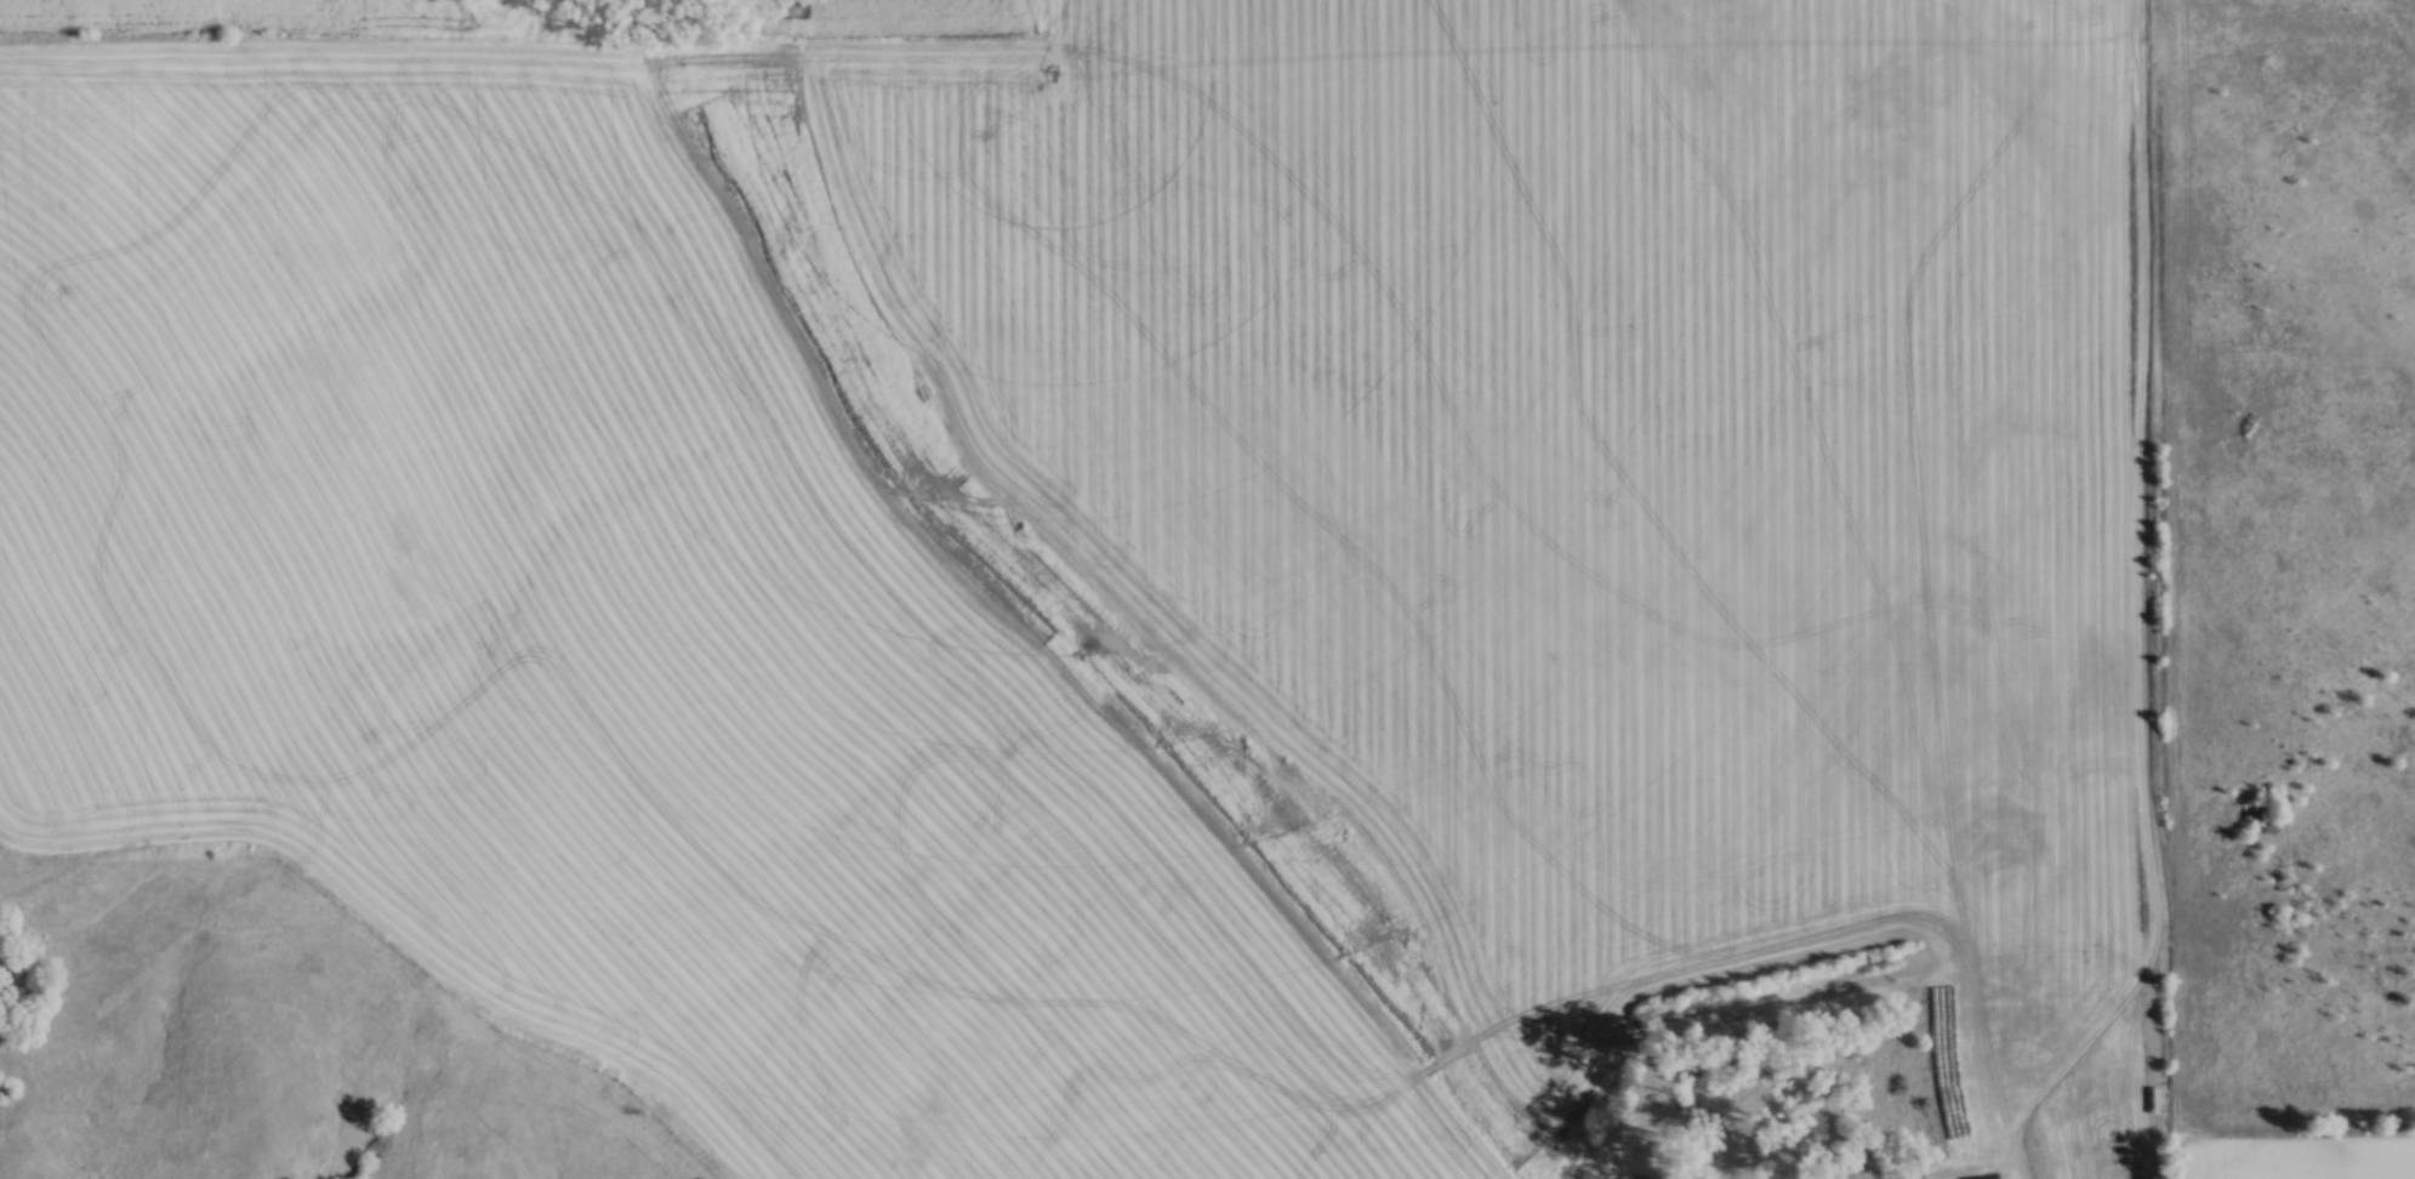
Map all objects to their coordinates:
road: (2147, 662)
building: (2152, 1104)
building: (2000, 1177)

